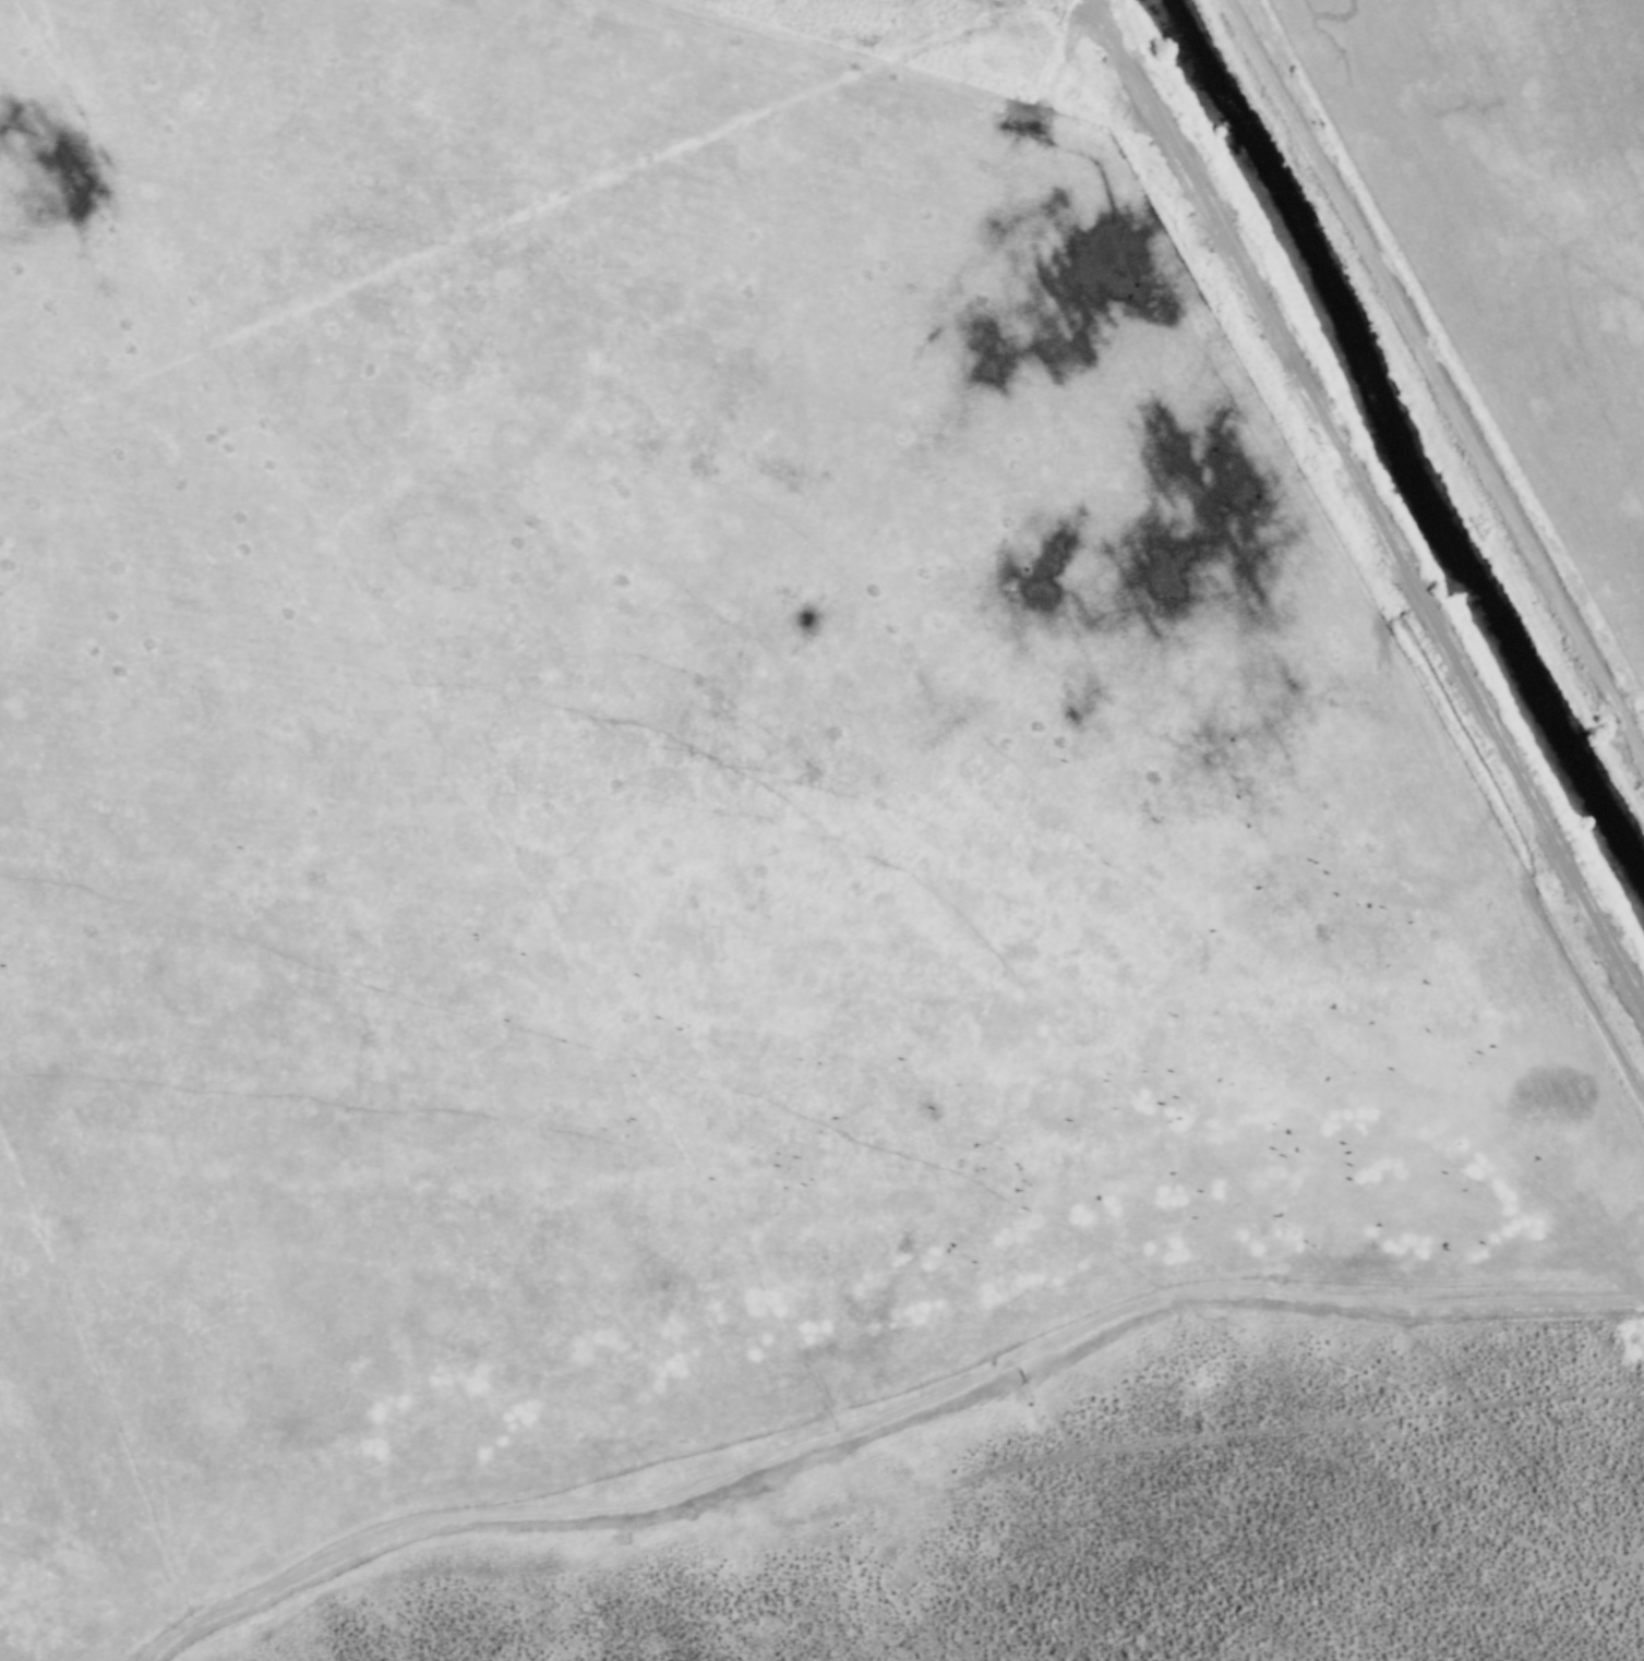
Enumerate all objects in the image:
road: (1085, 48)
road: (1274, 399)
river: (1403, 449)

